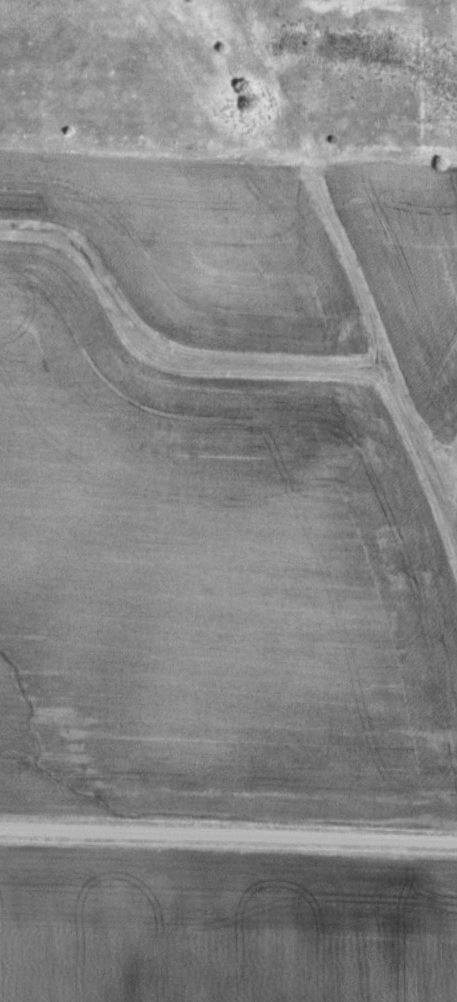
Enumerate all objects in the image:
road: (228, 835)

